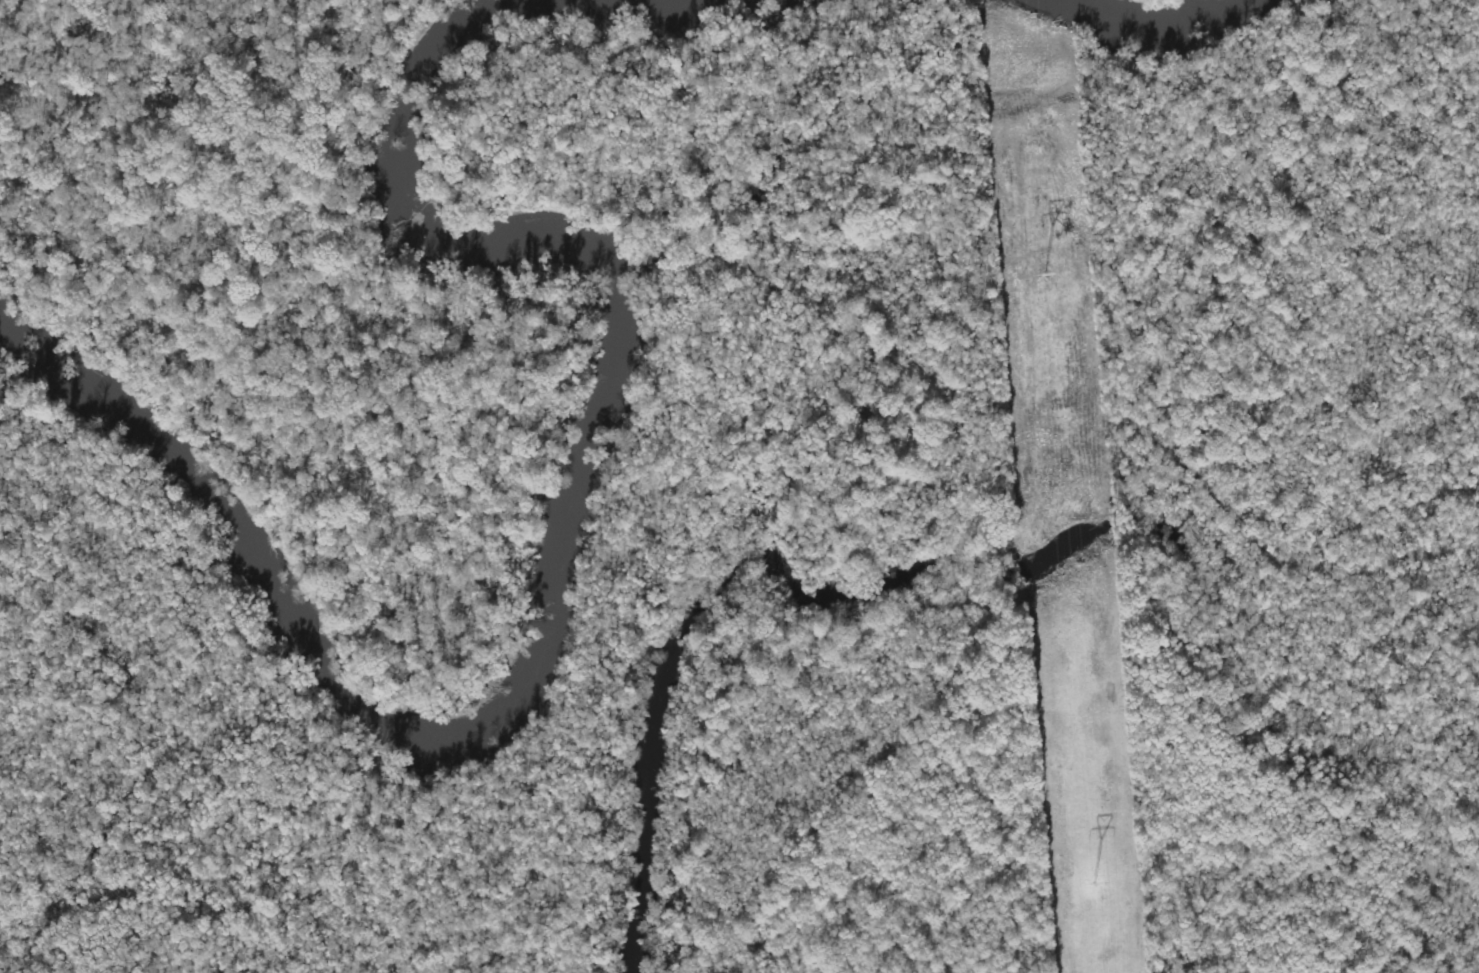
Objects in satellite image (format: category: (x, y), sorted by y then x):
river: (1146, 28)
power tower: (1043, 270)
river: (576, 504)
power tower: (1095, 878)

